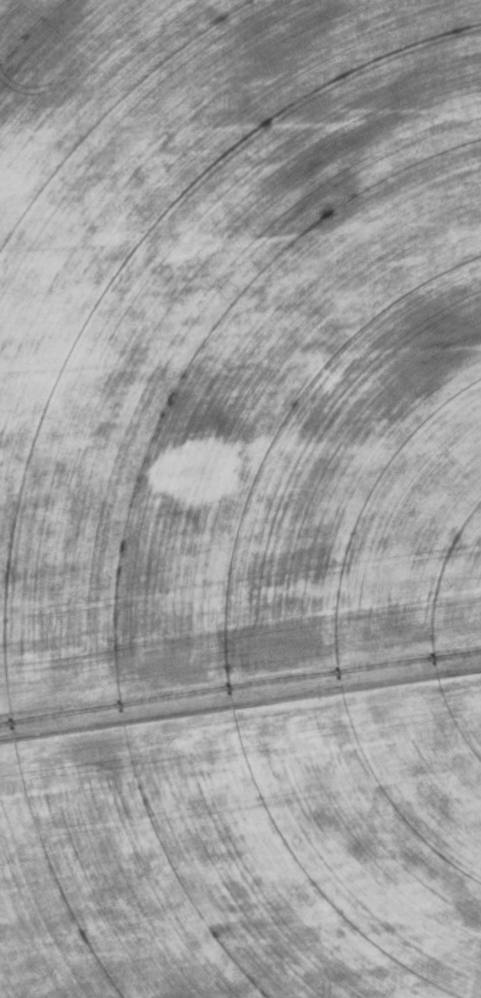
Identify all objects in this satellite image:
wastewater plant: (240, 499)

